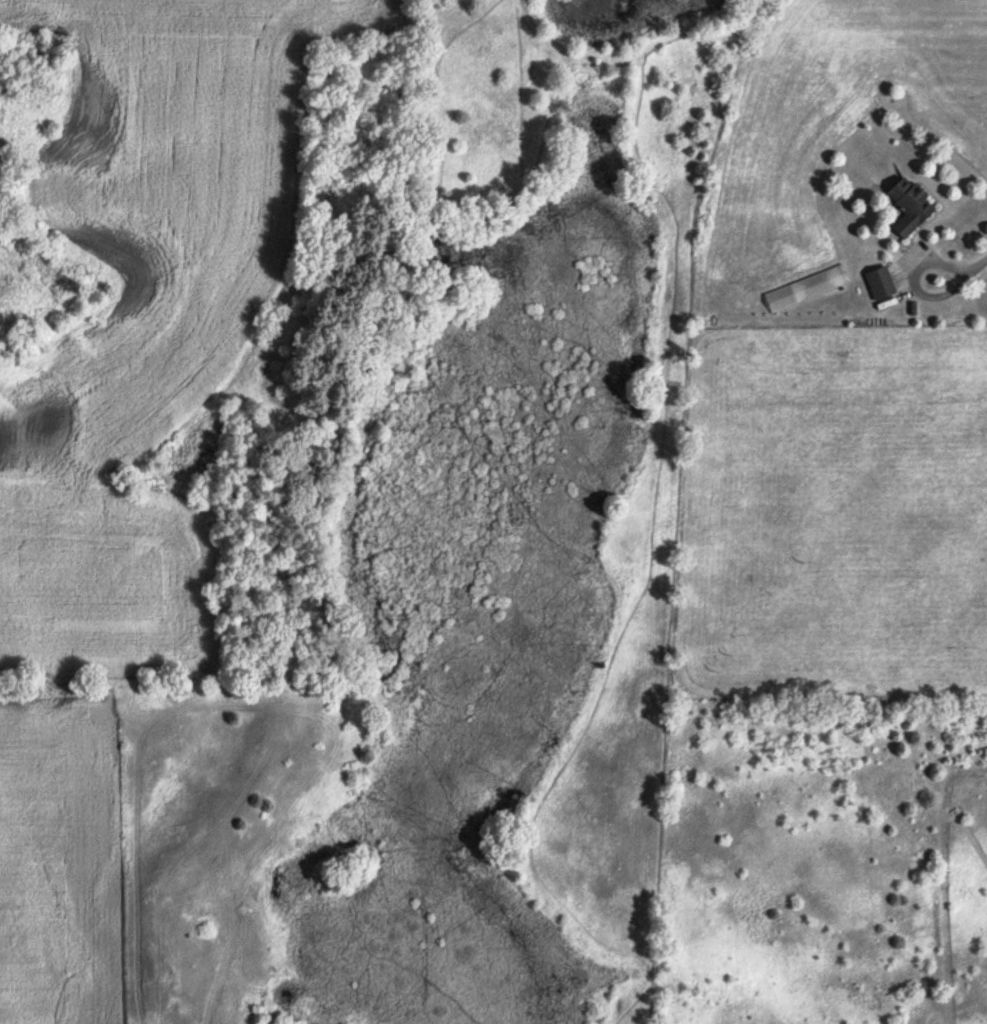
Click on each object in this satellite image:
building: (912, 208)
road: (964, 274)
building: (881, 285)

